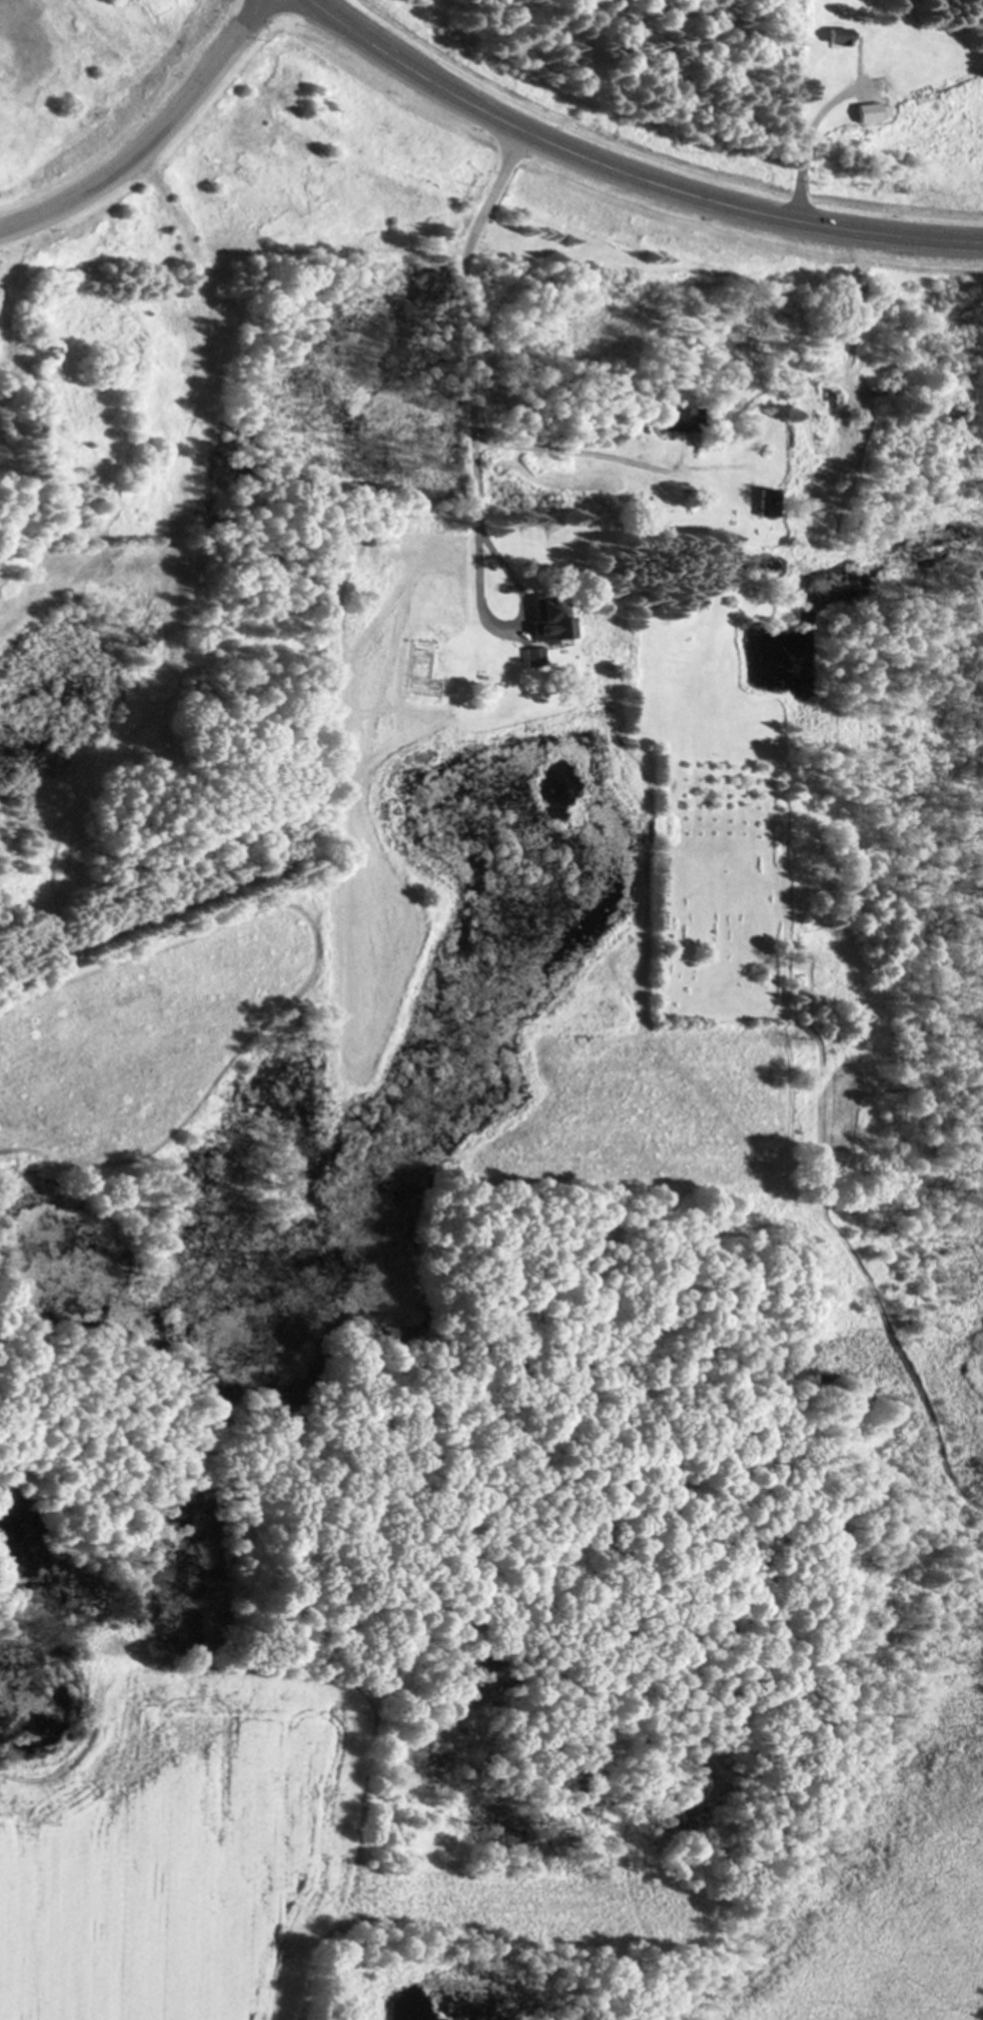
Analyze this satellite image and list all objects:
building: (836, 35)
building: (870, 112)
road: (147, 134)
road: (803, 143)
road: (627, 172)
building: (681, 419)
road: (479, 444)
building: (764, 503)
building: (550, 618)
building: (534, 657)

